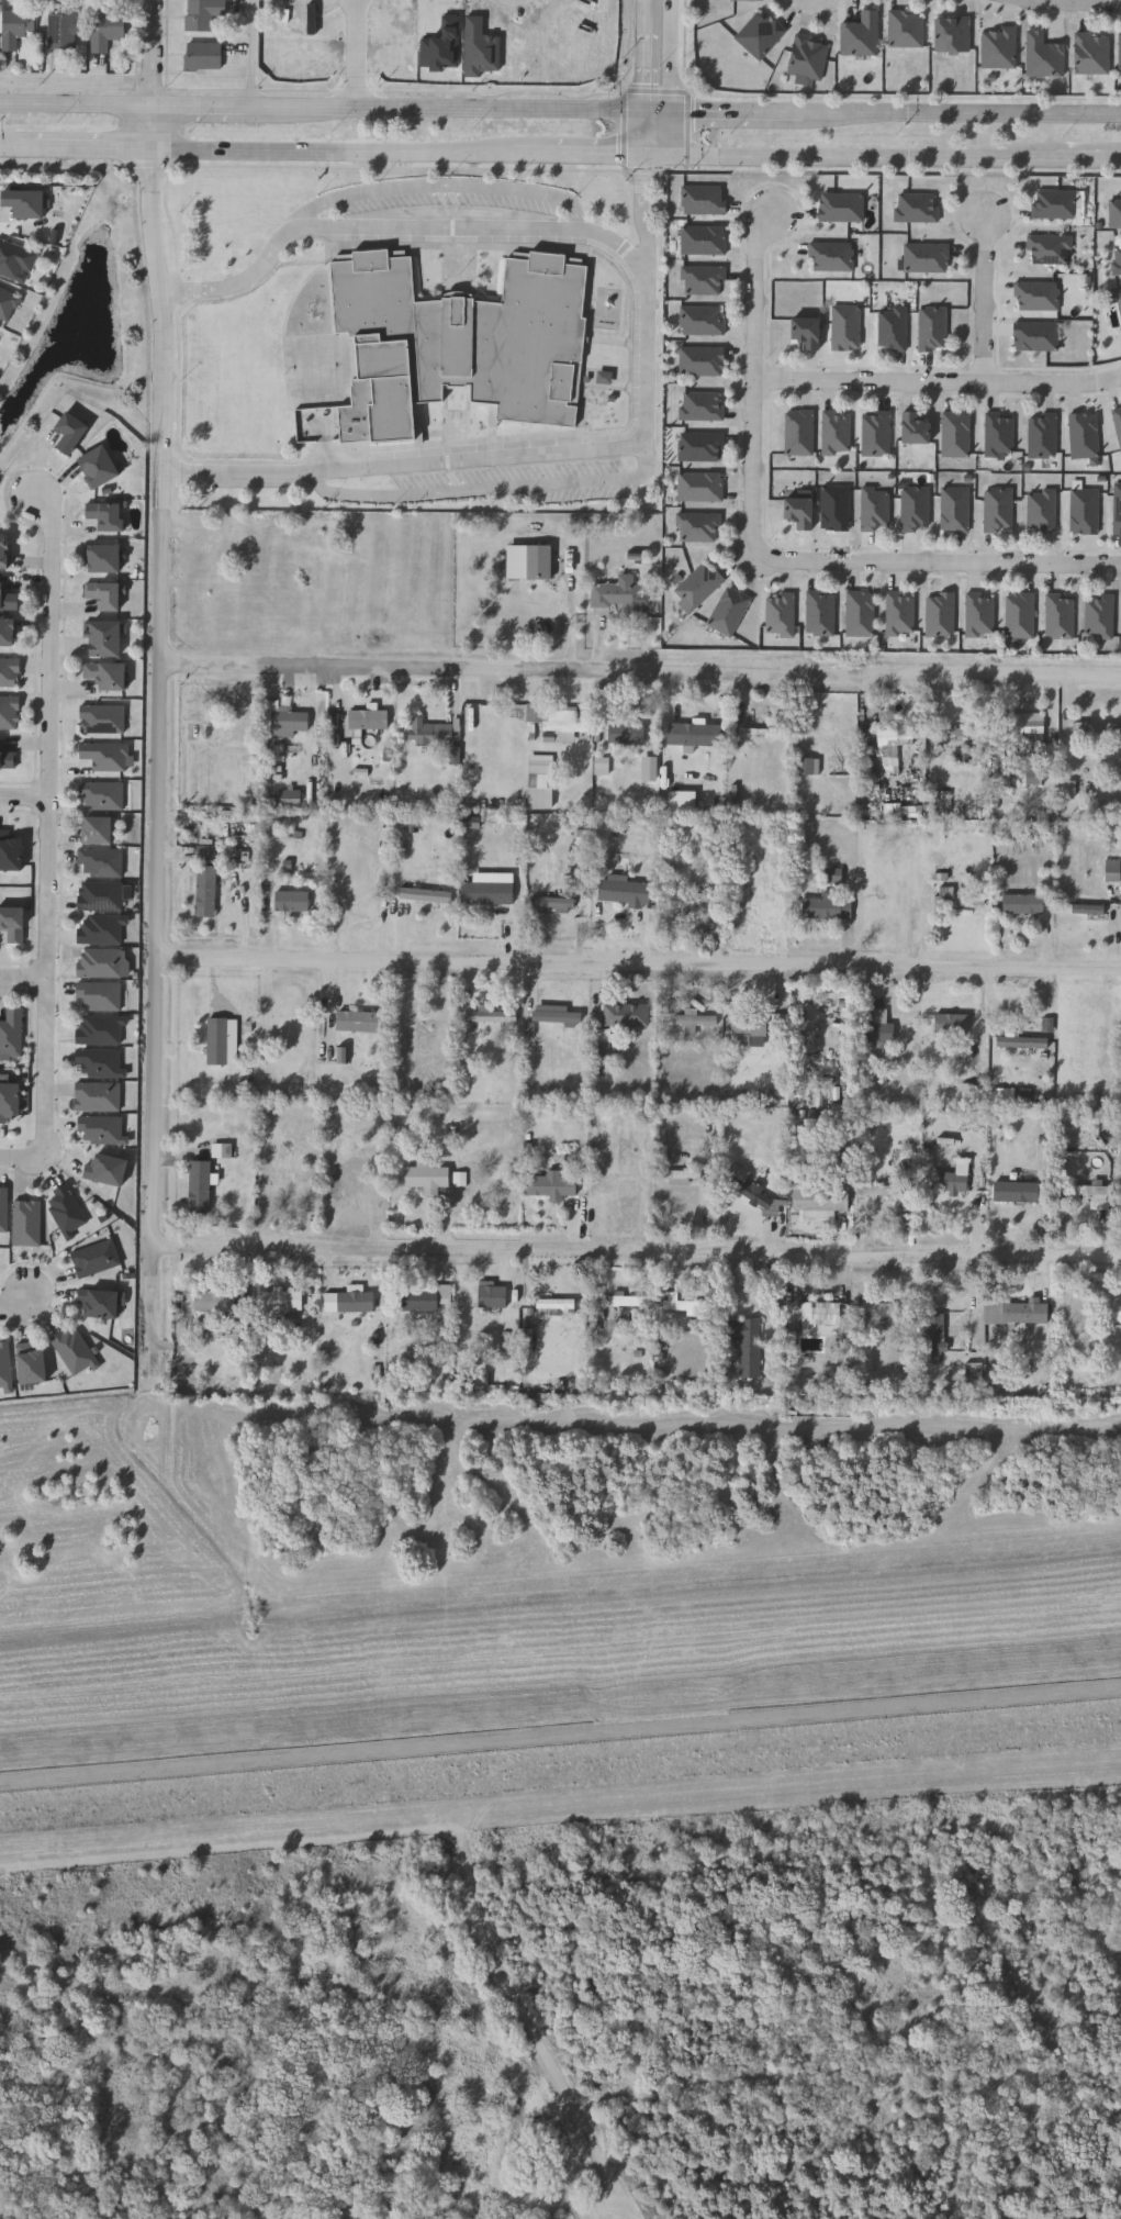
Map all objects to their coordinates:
building: (748, 0)
road: (1070, 5)
road: (648, 9)
building: (203, 13)
building: (313, 19)
building: (16, 24)
building: (105, 26)
building: (61, 29)
building: (907, 30)
building: (760, 35)
building: (861, 35)
building: (953, 35)
building: (444, 46)
building: (999, 48)
road: (154, 52)
road: (251, 52)
building: (1120, 52)
road: (360, 53)
building: (1092, 53)
building: (202, 54)
road: (676, 54)
building: (1044, 56)
building: (808, 57)
road: (647, 63)
road: (76, 102)
road: (199, 103)
road: (446, 105)
traffic signals: (647, 108)
road: (661, 108)
traffic signals: (676, 109)
road: (741, 109)
road: (963, 111)
road: (153, 126)
road: (646, 129)
road: (675, 130)
road: (8, 148)
road: (85, 149)
road: (334, 149)
road: (580, 149)
traffic signals: (644, 149)
road: (659, 149)
traffic signals: (674, 150)
road: (865, 153)
road: (1089, 155)
road: (394, 185)
building: (704, 199)
building: (25, 202)
road: (644, 203)
building: (1054, 203)
building: (840, 207)
building: (917, 208)
building: (1114, 213)
road: (440, 224)
building: (703, 239)
building: (1049, 248)
building: (830, 256)
building: (926, 257)
building: (1117, 258)
building: (15, 259)
building: (703, 279)
building: (1035, 296)
road: (986, 300)
building: (1119, 300)
building: (8, 302)
building: (702, 319)
building: (844, 326)
building: (892, 327)
building: (932, 327)
building: (804, 331)
building: (1034, 335)
building: (457, 342)
building: (700, 360)
road: (938, 382)
road: (754, 384)
building: (702, 404)
building: (1118, 422)
building: (912, 426)
building: (71, 431)
building: (798, 431)
building: (836, 431)
building: (875, 432)
building: (955, 433)
building: (998, 433)
building: (1083, 434)
building: (1041, 435)
building: (700, 445)
road: (492, 455)
building: (100, 466)
building: (700, 486)
road: (485, 489)
building: (834, 508)
building: (915, 508)
building: (875, 509)
building: (954, 509)
building: (998, 509)
building: (1083, 510)
building: (797, 511)
building: (1041, 511)
building: (1118, 511)
building: (107, 515)
building: (697, 526)
building: (4, 551)
building: (102, 558)
building: (540, 562)
road: (941, 566)
building: (698, 584)
building: (104, 594)
building: (620, 595)
building: (8, 598)
building: (728, 611)
building: (820, 613)
building: (860, 613)
building: (899, 614)
building: (939, 614)
building: (979, 614)
building: (780, 615)
building: (1019, 615)
building: (1060, 615)
building: (1098, 615)
building: (9, 632)
building: (105, 638)
road: (640, 669)
building: (10, 671)
building: (108, 674)
building: (9, 712)
building: (554, 715)
building: (369, 717)
building: (102, 718)
building: (291, 721)
building: (1021, 725)
building: (1095, 725)
building: (425, 732)
building: (764, 732)
building: (962, 732)
building: (626, 733)
building: (693, 733)
building: (893, 743)
building: (966, 754)
building: (104, 755)
building: (456, 756)
building: (7, 757)
road: (160, 765)
building: (808, 765)
building: (603, 766)
building: (650, 769)
building: (1034, 774)
building: (539, 783)
building: (1070, 790)
building: (102, 794)
road: (25, 796)
building: (291, 798)
building: (680, 801)
building: (457, 802)
building: (876, 802)
road: (49, 824)
building: (604, 827)
building: (98, 829)
building: (583, 836)
building: (10, 851)
building: (206, 855)
building: (101, 861)
building: (1113, 870)
building: (832, 876)
building: (209, 890)
building: (623, 890)
building: (486, 892)
building: (425, 894)
building: (100, 895)
building: (686, 897)
building: (296, 900)
building: (965, 900)
building: (551, 902)
building: (1022, 902)
building: (826, 907)
building: (1088, 911)
building: (650, 915)
building: (13, 923)
building: (101, 929)
building: (101, 962)
road: (640, 963)
road: (23, 977)
building: (836, 992)
building: (100, 995)
building: (668, 1006)
building: (556, 1014)
building: (626, 1014)
building: (495, 1015)
building: (694, 1017)
building: (363, 1019)
road: (983, 1019)
building: (750, 1024)
building: (951, 1024)
building: (879, 1027)
building: (100, 1029)
building: (12, 1032)
building: (225, 1040)
building: (1022, 1042)
building: (602, 1044)
building: (967, 1053)
building: (344, 1056)
building: (100, 1062)
building: (968, 1092)
building: (1006, 1095)
building: (98, 1096)
building: (10, 1101)
building: (101, 1129)
building: (223, 1150)
road: (20, 1159)
building: (108, 1170)
building: (429, 1175)
building: (681, 1175)
building: (953, 1181)
building: (551, 1184)
building: (203, 1185)
building: (750, 1190)
building: (826, 1190)
building: (876, 1190)
building: (1016, 1191)
building: (285, 1192)
building: (1088, 1195)
building: (3, 1209)
building: (67, 1212)
building: (27, 1223)
road: (636, 1252)
building: (96, 1258)
building: (427, 1295)
building: (491, 1295)
building: (628, 1298)
building: (217, 1300)
building: (285, 1300)
building: (359, 1301)
building: (557, 1302)
road: (15, 1303)
building: (99, 1303)
building: (683, 1303)
building: (816, 1307)
building: (877, 1309)
building: (1017, 1313)
building: (599, 1314)
building: (938, 1334)
building: (530, 1339)
building: (746, 1342)
building: (74, 1349)
building: (32, 1364)
building: (5, 1365)
building: (975, 1373)
building: (482, 1378)
road: (560, 1736)
park: (583, 2022)

